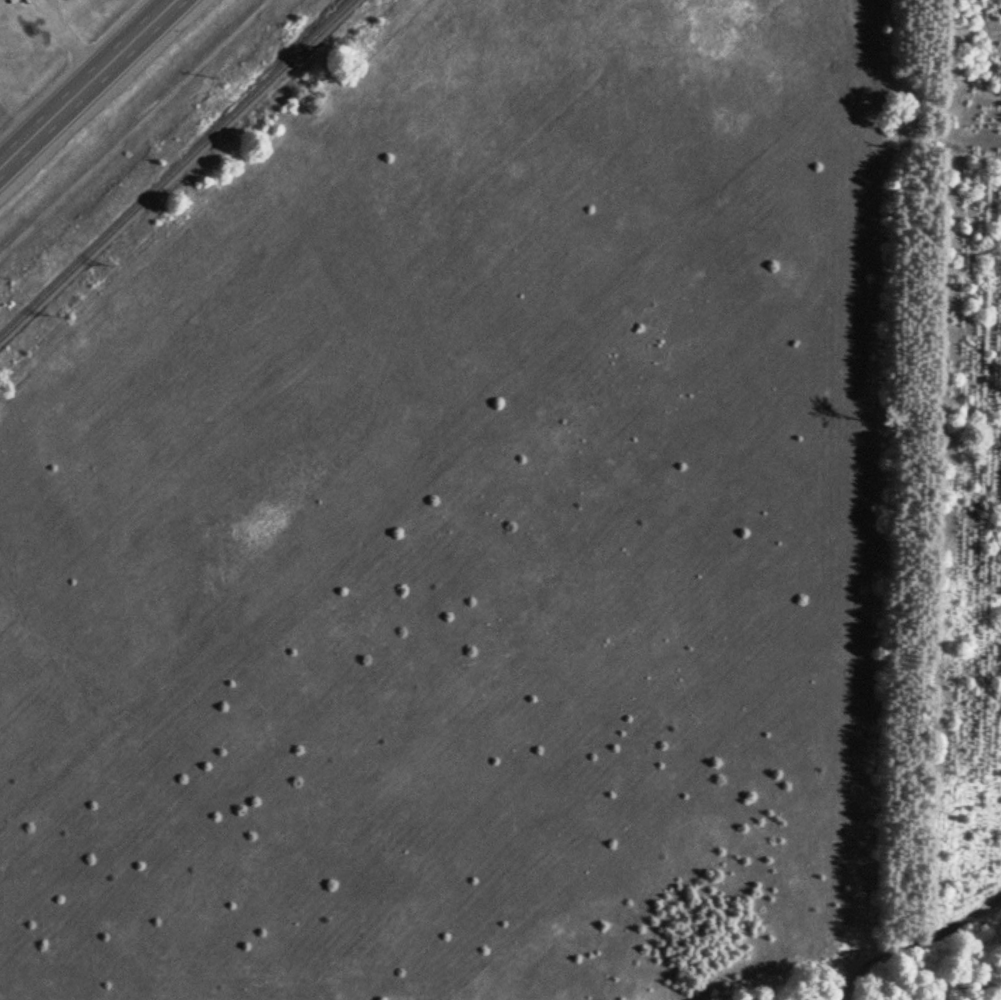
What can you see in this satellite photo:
road: (86, 83)
road: (136, 132)
railway: (178, 172)
road: (913, 941)

